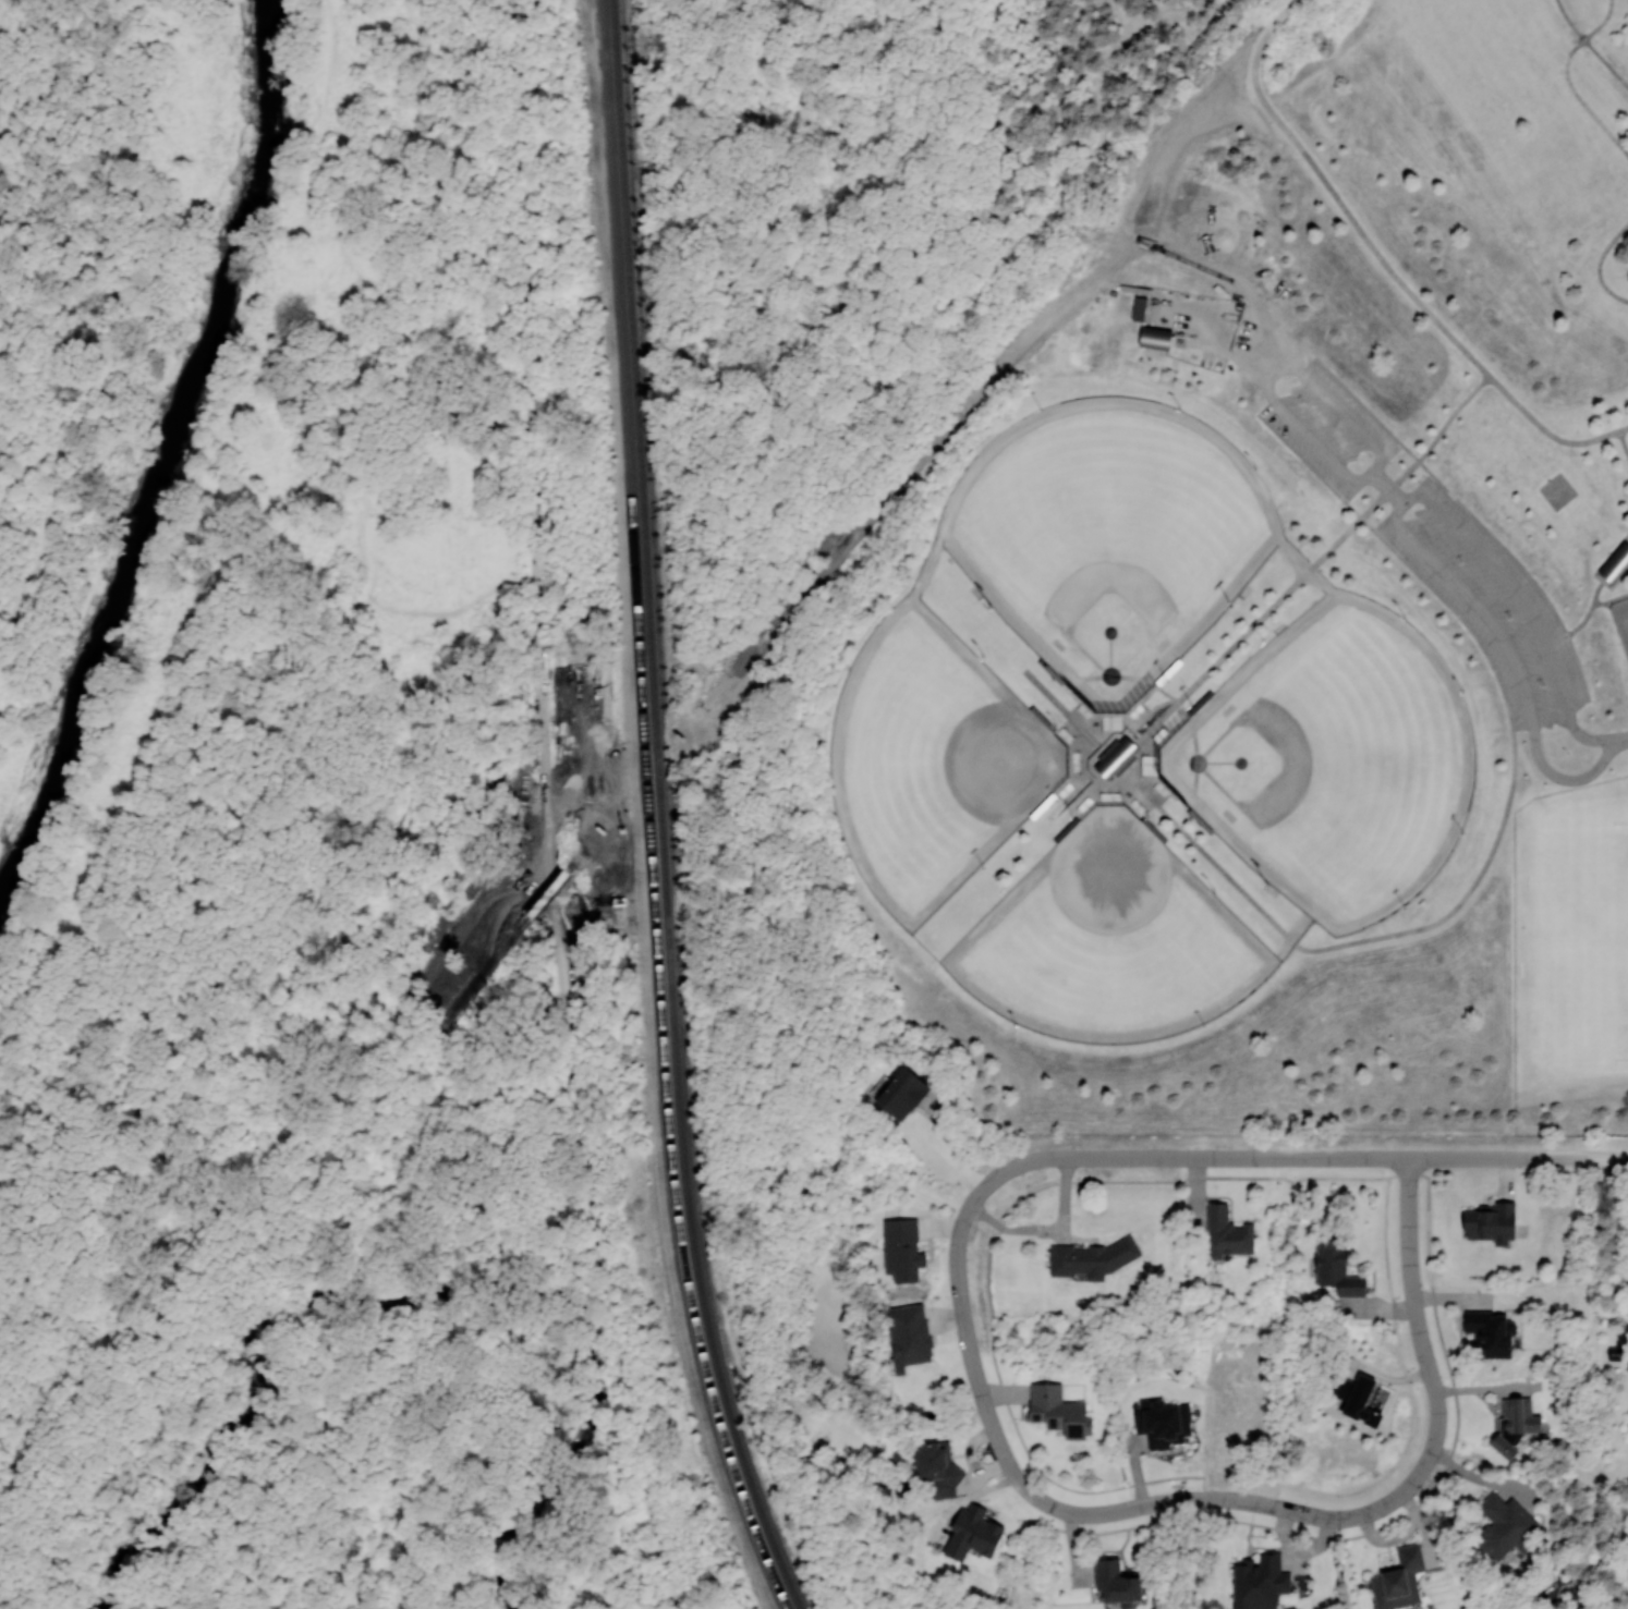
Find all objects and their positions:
road: (1280, 16)
road: (1569, 78)
road: (1244, 112)
road: (104, 231)
road: (1602, 268)
road: (1398, 282)
road: (1064, 297)
building: (1155, 338)
road: (1272, 371)
river: (161, 444)
road: (1386, 485)
park: (1556, 490)
road: (47, 521)
park: (1110, 538)
building: (1623, 551)
building: (1613, 568)
railway: (633, 572)
road: (1527, 607)
park: (1621, 618)
road: (773, 624)
road: (11, 627)
park: (1235, 629)
road: (1511, 659)
road: (258, 722)
road: (1624, 736)
building: (1116, 757)
park: (933, 761)
park: (1335, 764)
road: (642, 779)
park: (1138, 790)
road: (547, 809)
railway: (659, 813)
park: (414, 846)
road: (573, 865)
road: (542, 902)
road: (497, 913)
park: (1111, 942)
park: (1586, 942)
road: (479, 975)
building: (901, 1093)
road: (1314, 1159)
road: (1605, 1159)
building: (1491, 1222)
building: (1227, 1231)
building: (902, 1248)
building: (1092, 1258)
building: (1336, 1268)
road: (959, 1296)
building: (1491, 1332)
building: (909, 1337)
railway: (705, 1381)
building: (1358, 1397)
building: (1058, 1410)
road: (360, 1411)
building: (1162, 1422)
building: (1515, 1424)
building: (937, 1467)
road: (1376, 1511)
building: (1505, 1526)
building: (972, 1532)
road: (41, 1543)
road: (116, 1568)
road: (48, 1573)
building: (1399, 1580)
building: (1117, 1582)
building: (1259, 1582)
road: (147, 1590)

